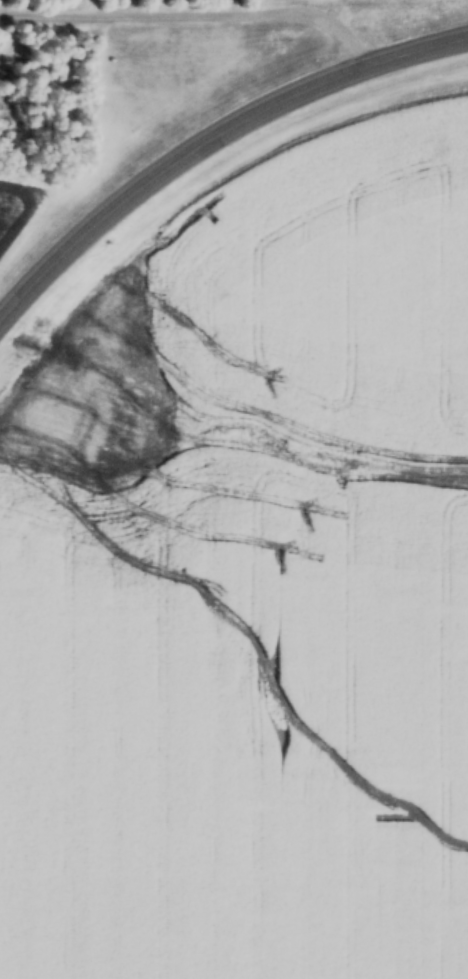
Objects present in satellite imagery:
road: (379, 72)
road: (134, 205)

